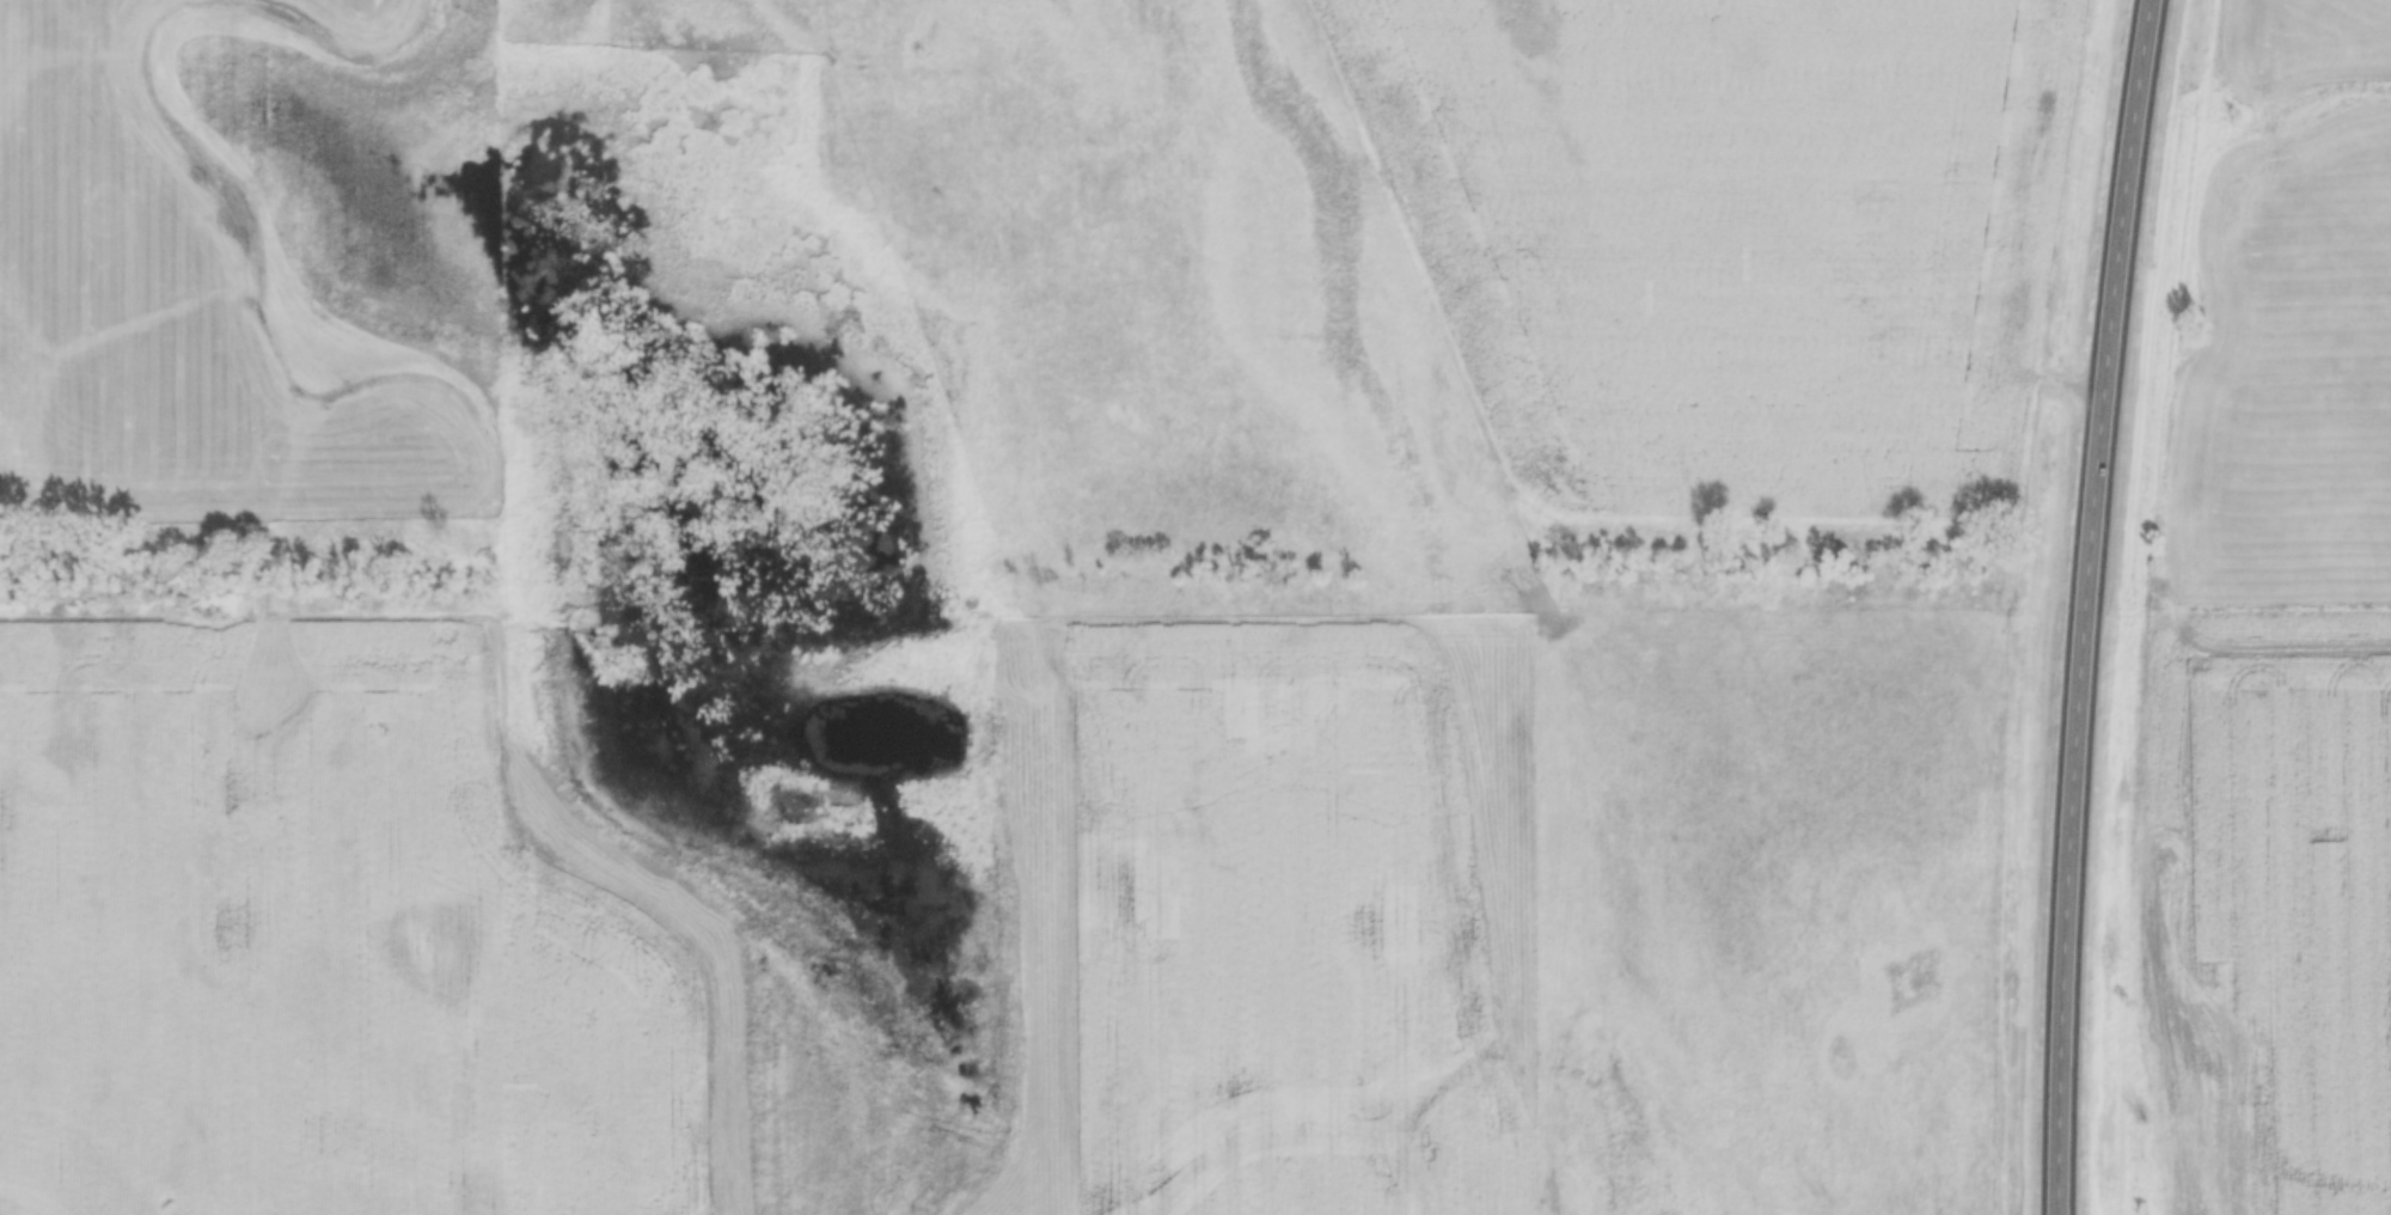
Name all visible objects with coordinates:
road: (2095, 606)

